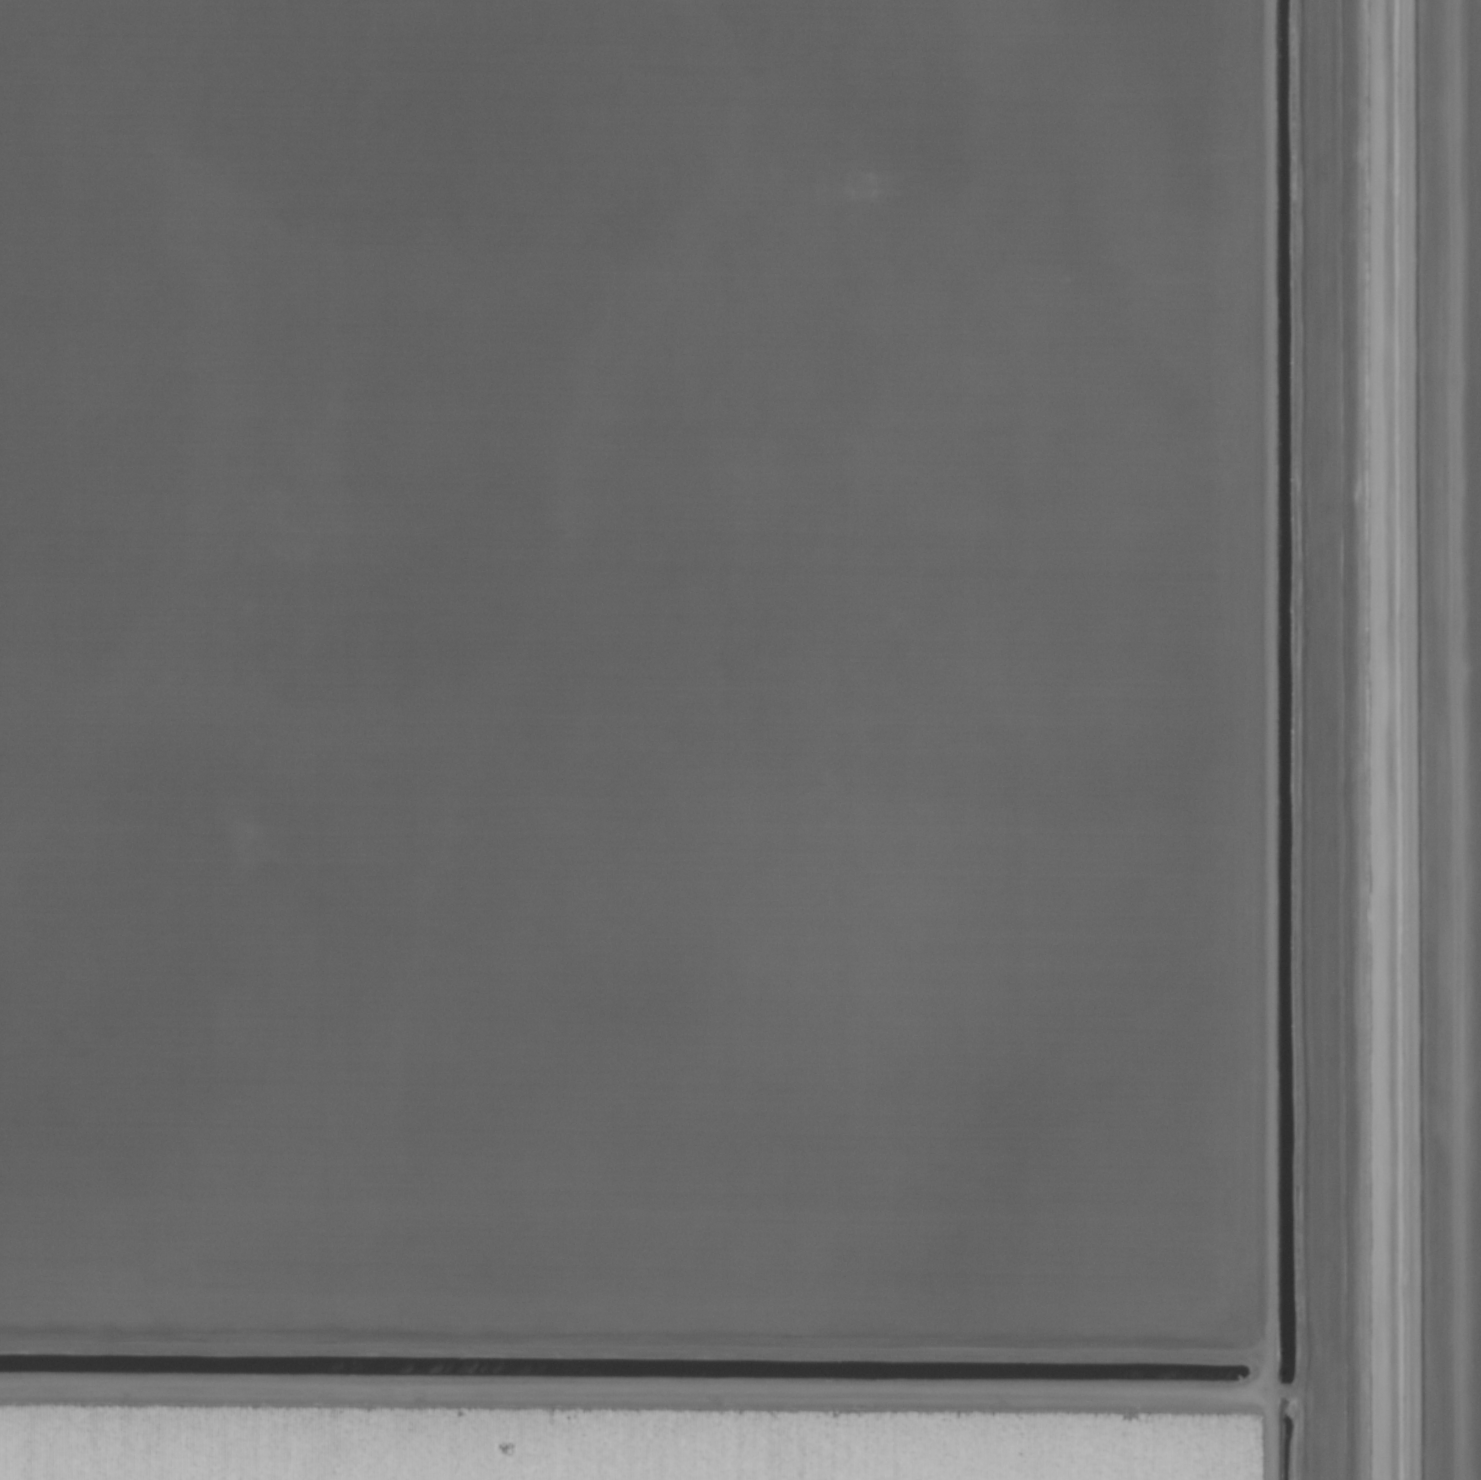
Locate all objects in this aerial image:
crop: (740, 740)
road: (1392, 740)

